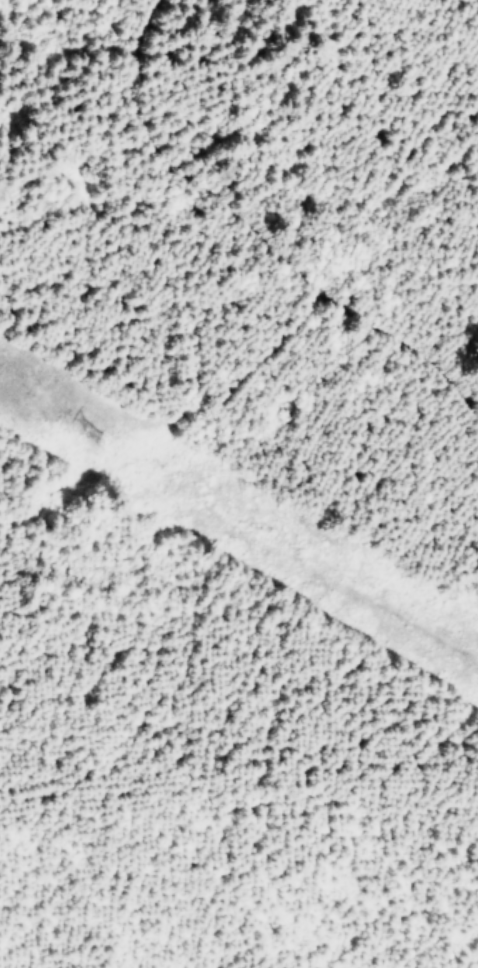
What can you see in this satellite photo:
road: (261, 228)
power tower: (88, 421)

